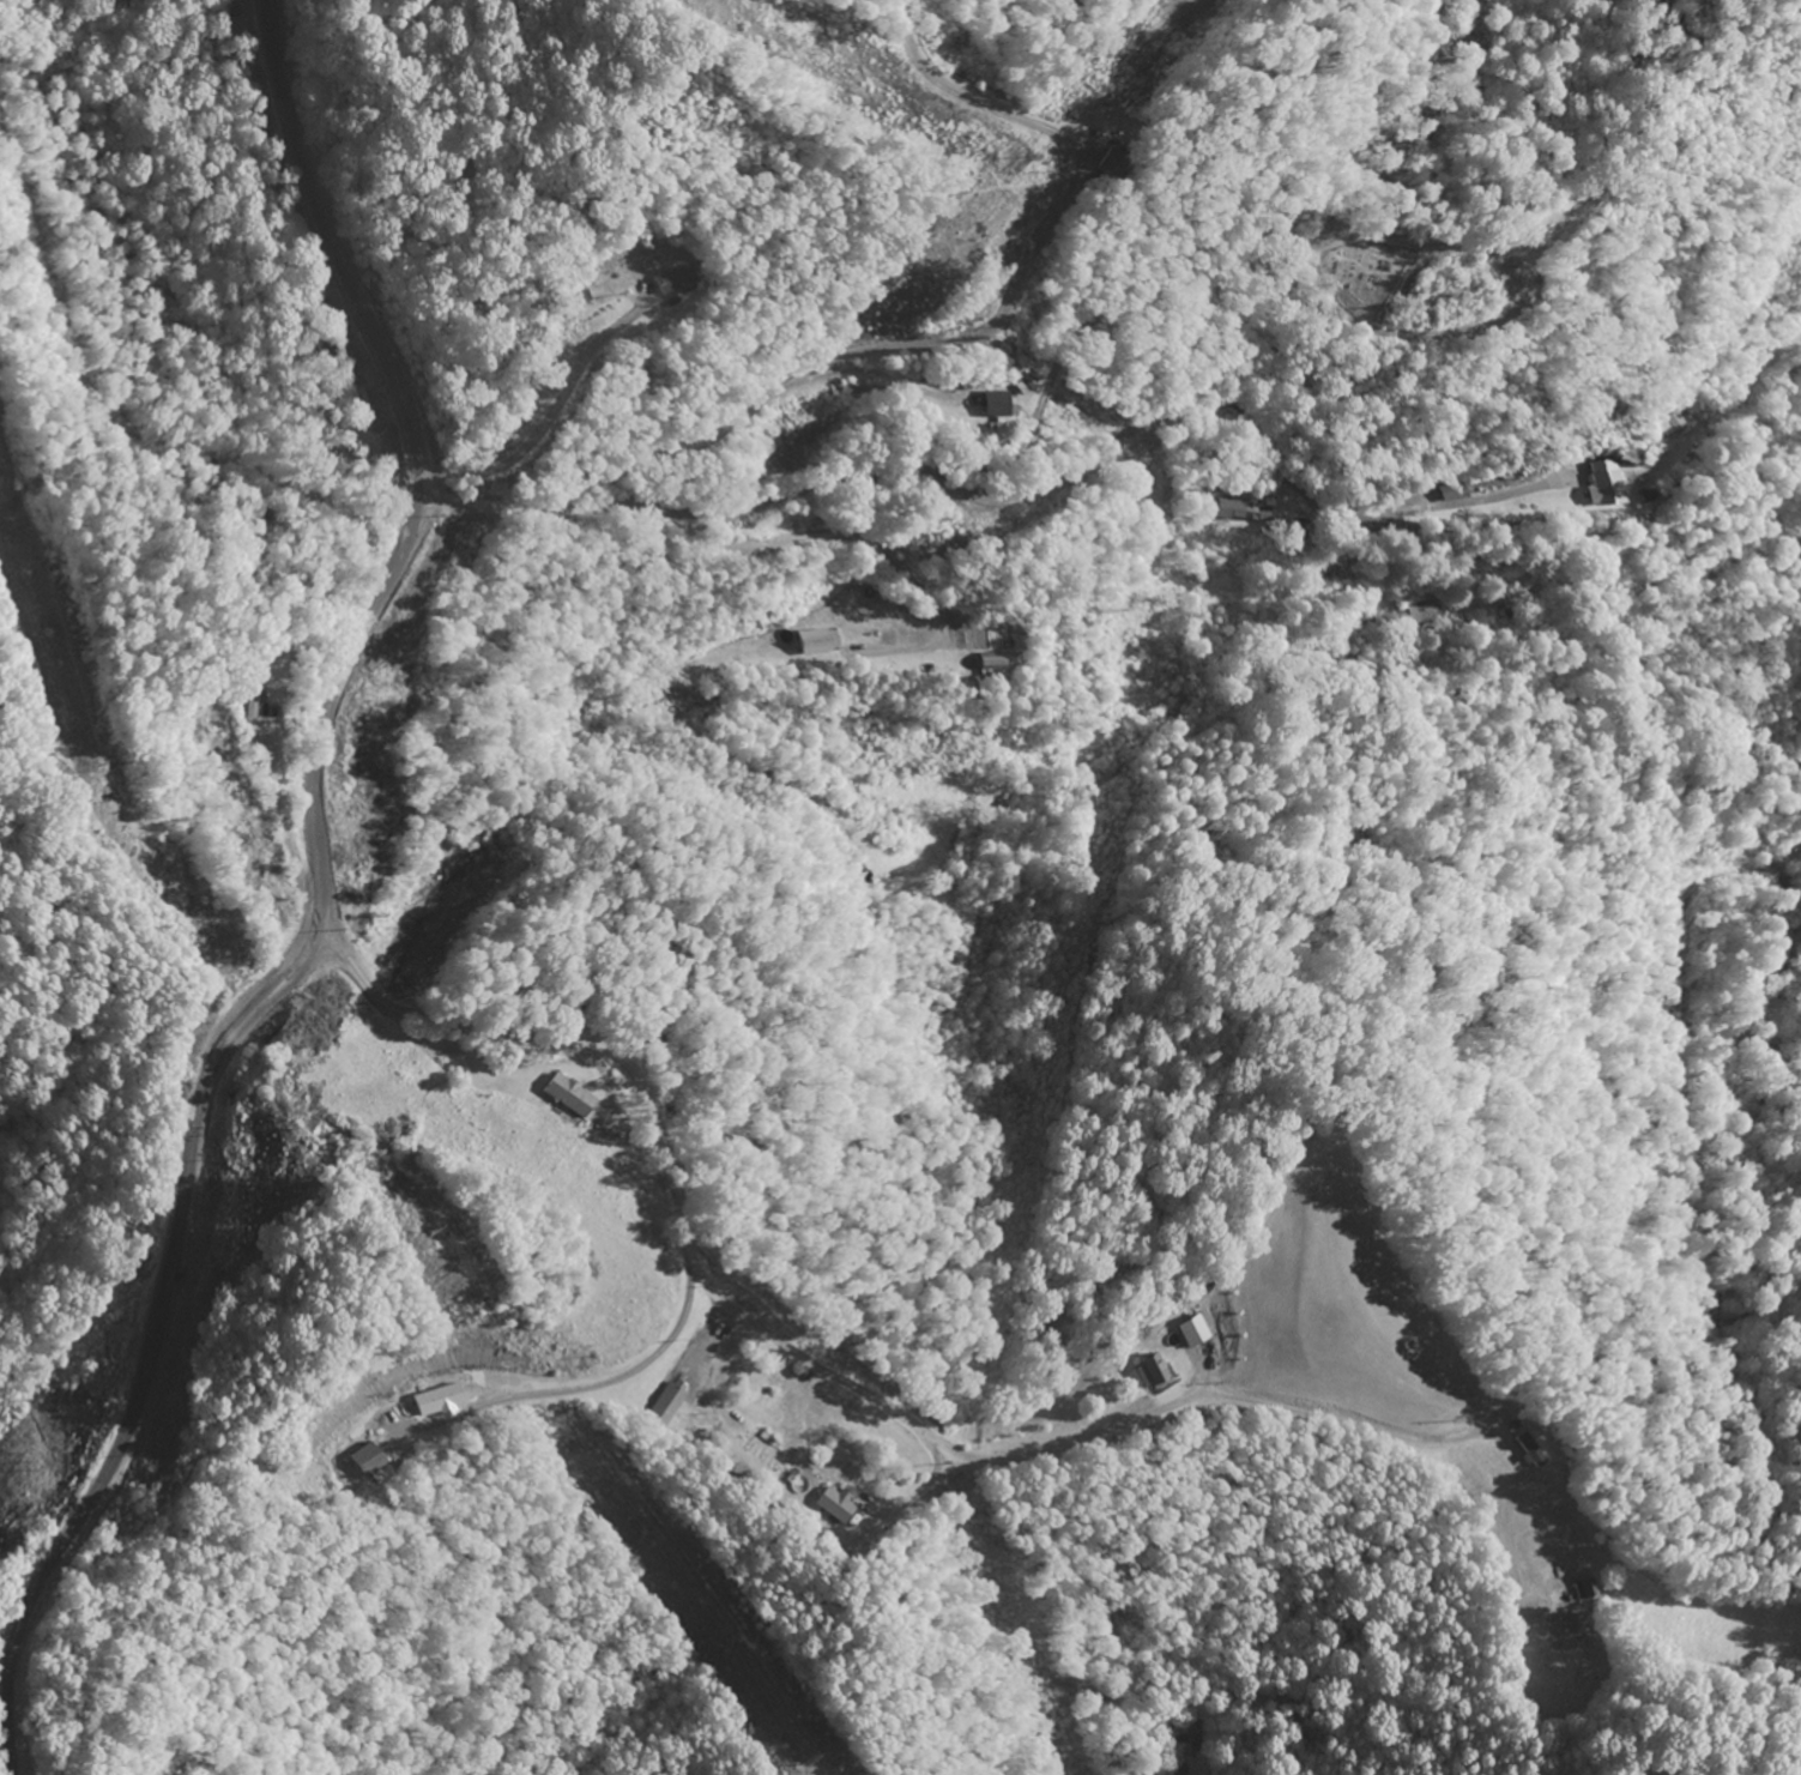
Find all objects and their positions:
power tower: (1007, 162)
road: (333, 248)
building: (675, 282)
building: (996, 405)
building: (1675, 424)
road: (1125, 437)
building: (1604, 484)
building: (1457, 494)
building: (1646, 496)
road: (394, 556)
building: (818, 642)
road: (316, 762)
building: (568, 1097)
road: (682, 1213)
road: (156, 1290)
building: (1196, 1332)
building: (1154, 1373)
building: (675, 1402)
power tower: (18, 1443)
building: (1524, 1449)
building: (380, 1462)
building: (838, 1505)
road: (1, 1722)

